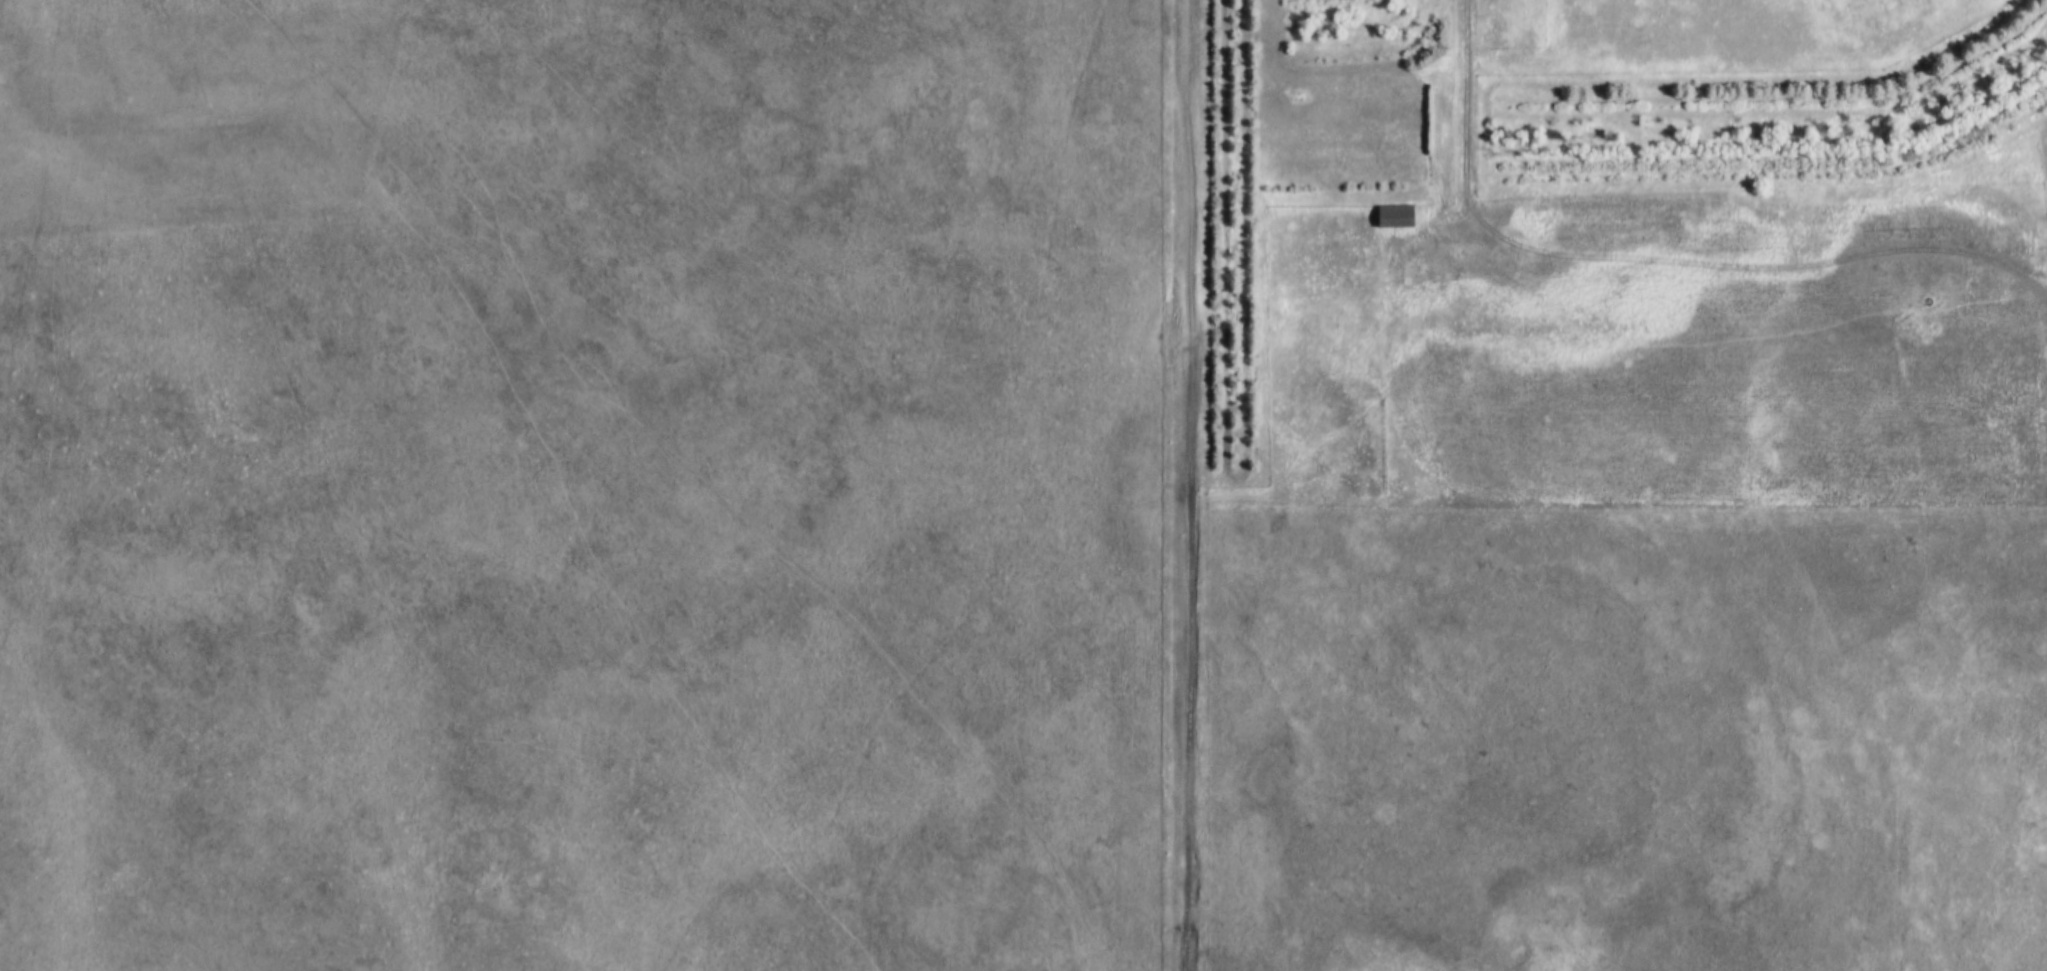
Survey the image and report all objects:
road: (1466, 119)
building: (1395, 217)
building: (1290, 227)
road: (1188, 485)

